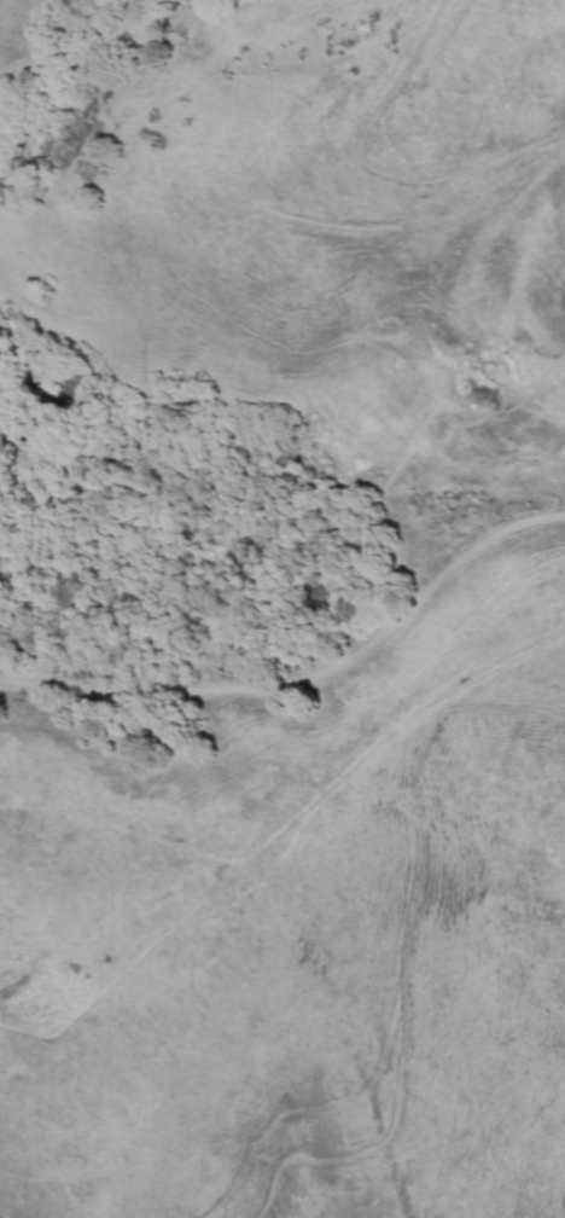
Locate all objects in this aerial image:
road: (379, 170)
road: (305, 673)
road: (406, 947)

